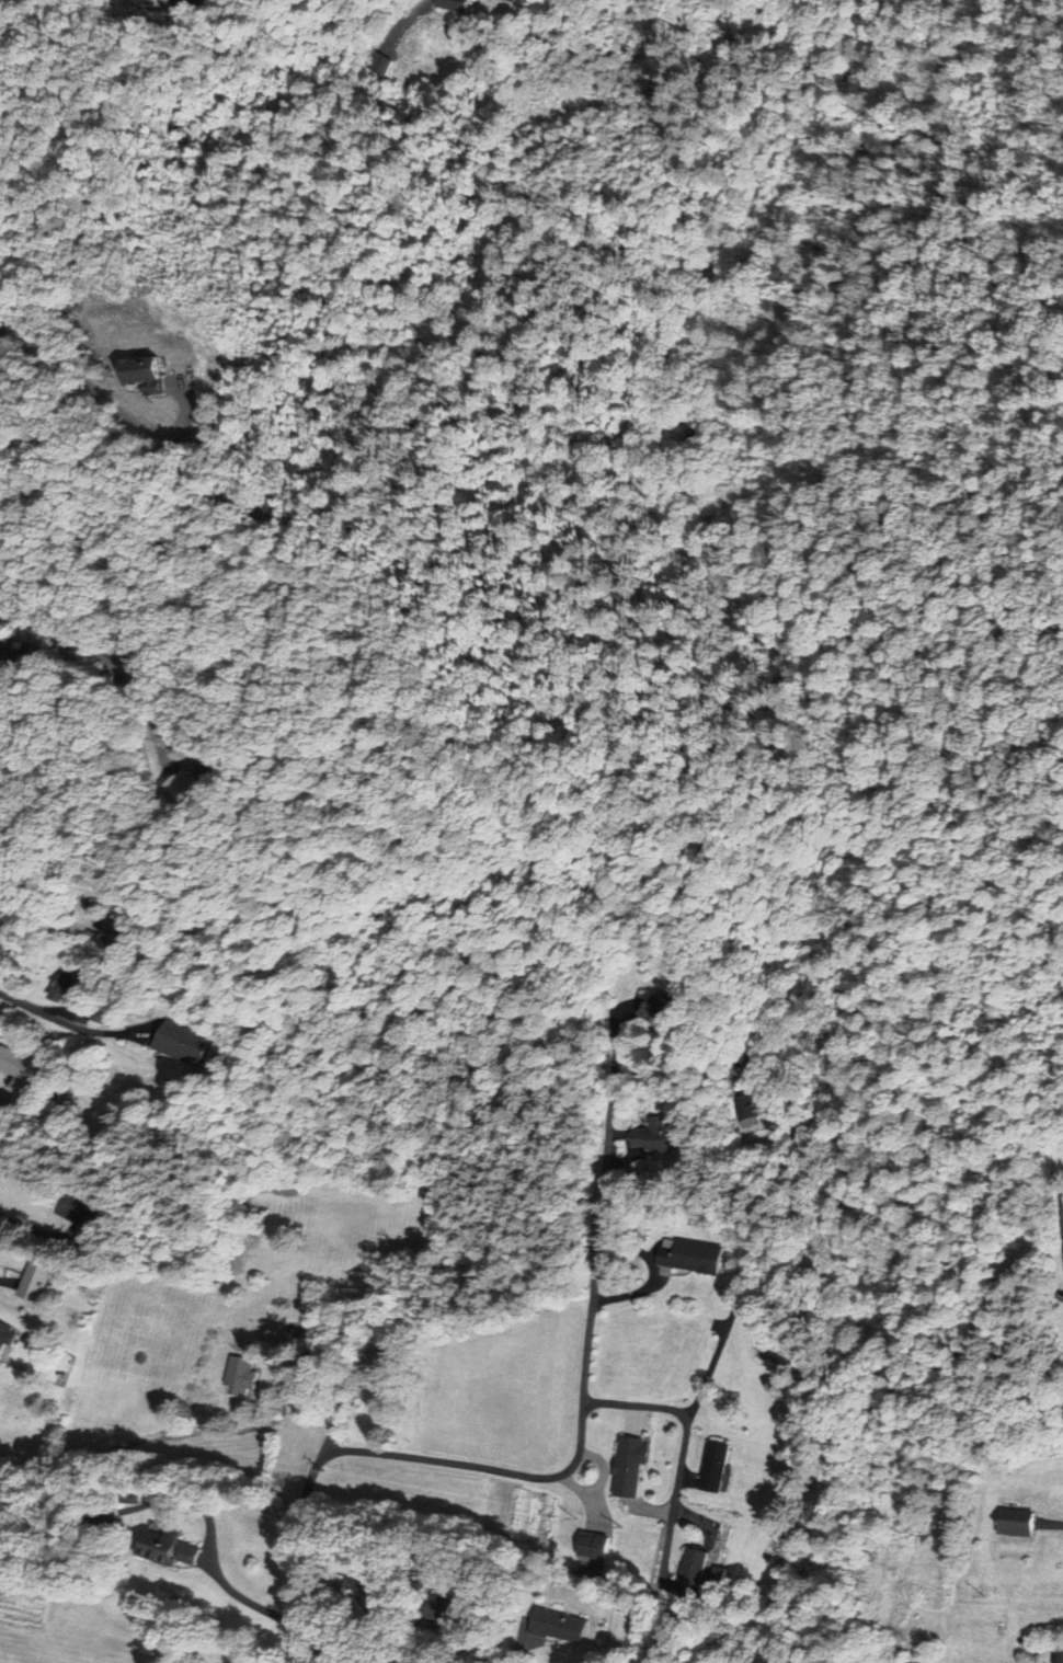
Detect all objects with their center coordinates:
building: (157, 0)
building: (512, 1)
building: (380, 66)
road: (88, 386)
road: (83, 512)
road: (61, 634)
building: (2, 657)
building: (176, 790)
road: (55, 835)
building: (106, 941)
building: (665, 1012)
road: (52, 1017)
building: (169, 1043)
building: (15, 1070)
road: (615, 1081)
building: (754, 1108)
building: (744, 1113)
building: (663, 1136)
road: (626, 1158)
building: (69, 1212)
road: (1061, 1213)
building: (695, 1255)
road: (652, 1271)
building: (42, 1282)
road: (590, 1327)
building: (8, 1340)
building: (380, 1358)
building: (372, 1362)
road: (711, 1365)
building: (242, 1375)
road: (332, 1413)
building: (341, 1427)
road: (161, 1434)
road: (683, 1446)
road: (335, 1450)
building: (633, 1465)
building: (720, 1466)
road: (604, 1470)
road: (586, 1495)
building: (135, 1496)
building: (123, 1498)
building: (110, 1515)
building: (1017, 1522)
road: (1051, 1524)
building: (596, 1545)
building: (172, 1546)
building: (434, 1553)
road: (210, 1564)
building: (699, 1570)
building: (724, 1575)
building: (521, 1578)
building: (368, 1589)
building: (449, 1608)
building: (561, 1625)
road: (522, 1636)
road: (350, 1653)
building: (1058, 1656)

